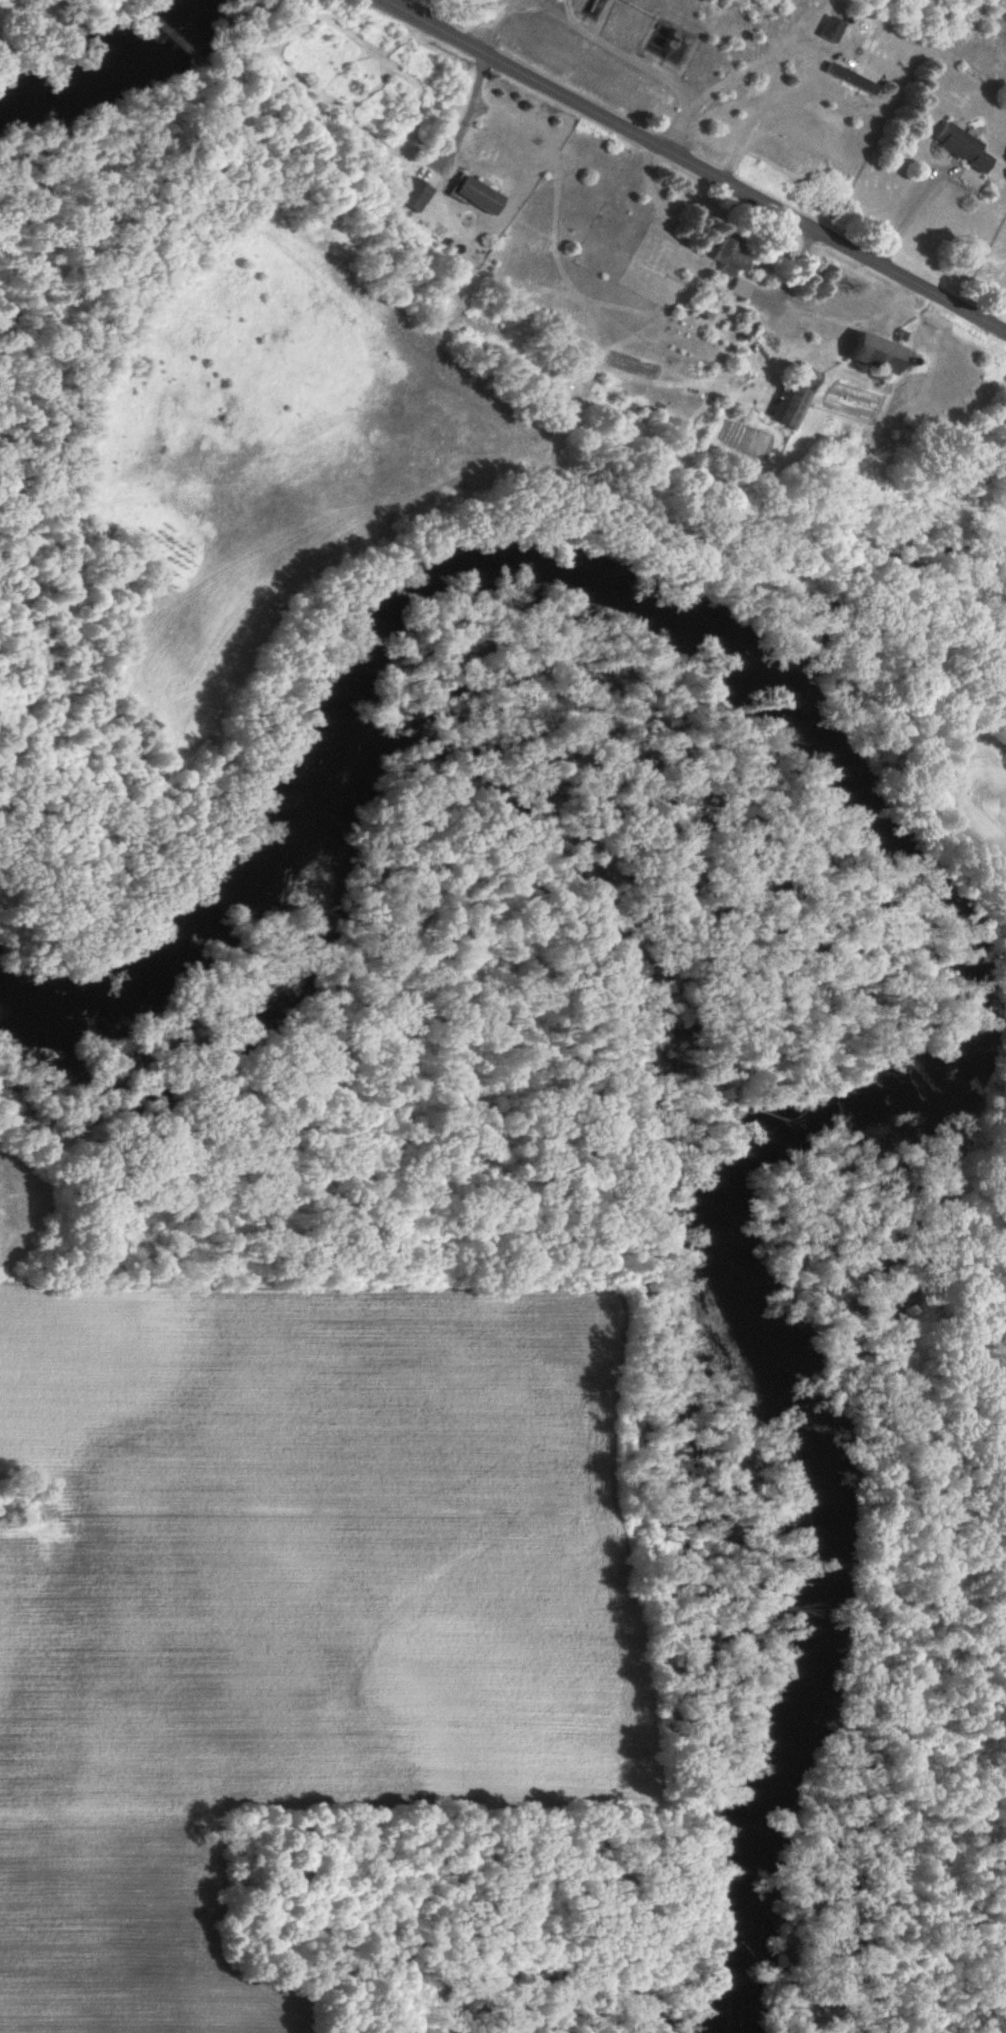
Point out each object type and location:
building: (833, 29)
road: (606, 39)
river: (117, 62)
building: (839, 71)
road: (756, 90)
road: (472, 111)
building: (963, 146)
road: (696, 165)
building: (416, 194)
building: (476, 195)
road: (902, 204)
building: (731, 265)
road: (990, 283)
building: (871, 353)
building: (796, 396)
river: (952, 919)
park: (133, 1070)

